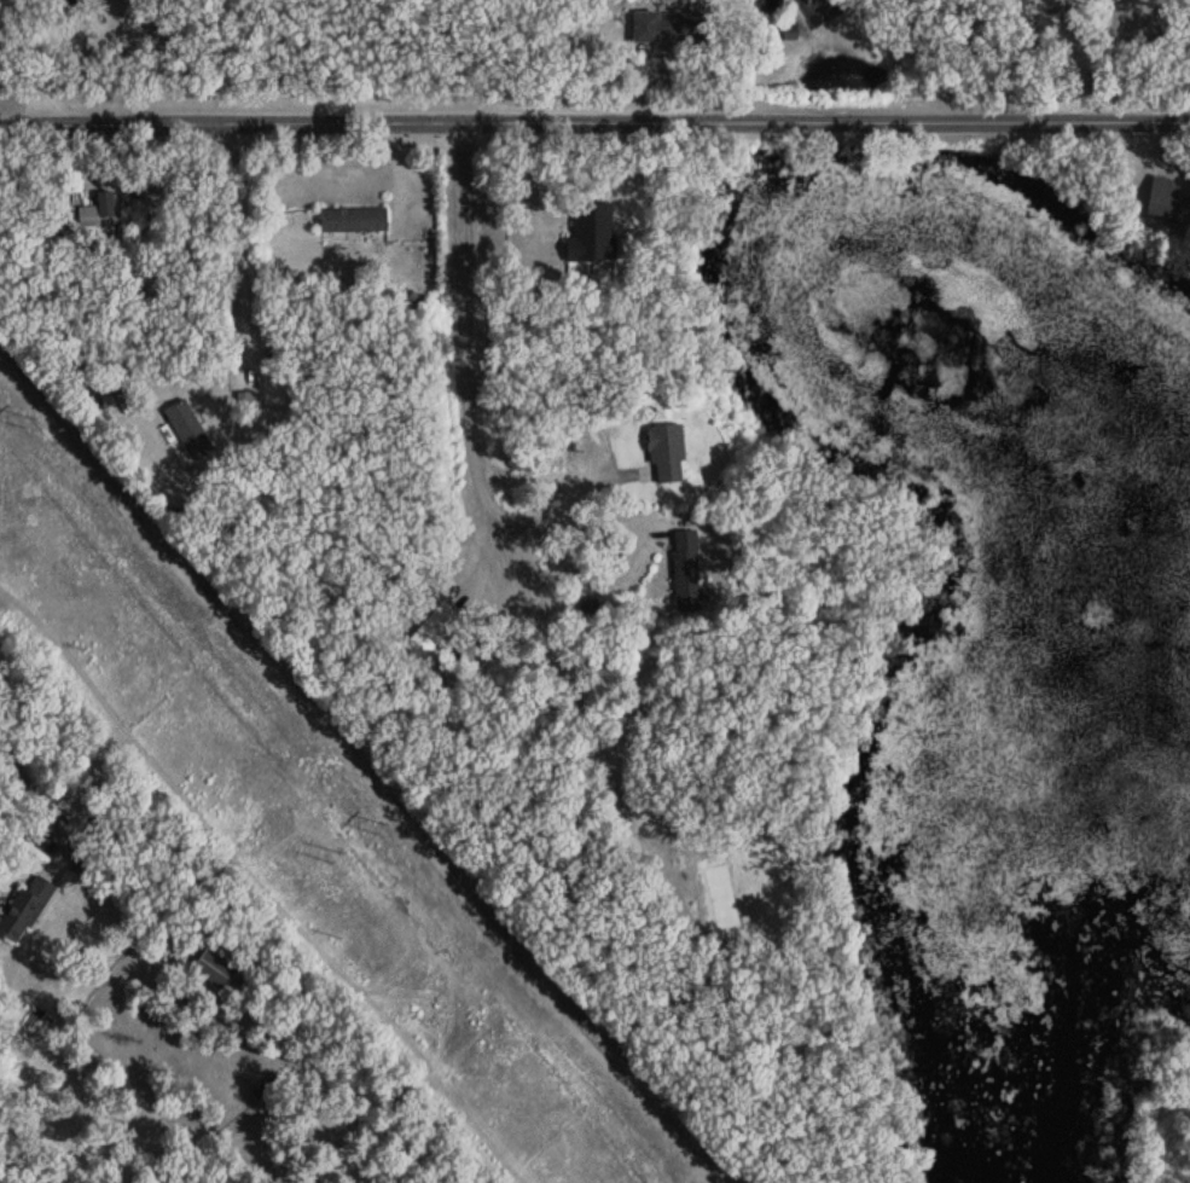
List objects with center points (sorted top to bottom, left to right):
building: (674, 28)
road: (594, 116)
building: (1159, 198)
building: (99, 215)
building: (355, 219)
building: (594, 231)
road: (242, 237)
road: (465, 327)
road: (110, 361)
building: (123, 396)
power tower: (24, 422)
building: (191, 430)
road: (606, 442)
building: (671, 453)
road: (648, 535)
building: (689, 570)
building: (435, 630)
road: (27, 781)
power tower: (378, 828)
power tower: (333, 856)
building: (27, 909)
building: (215, 969)
building: (267, 1085)

